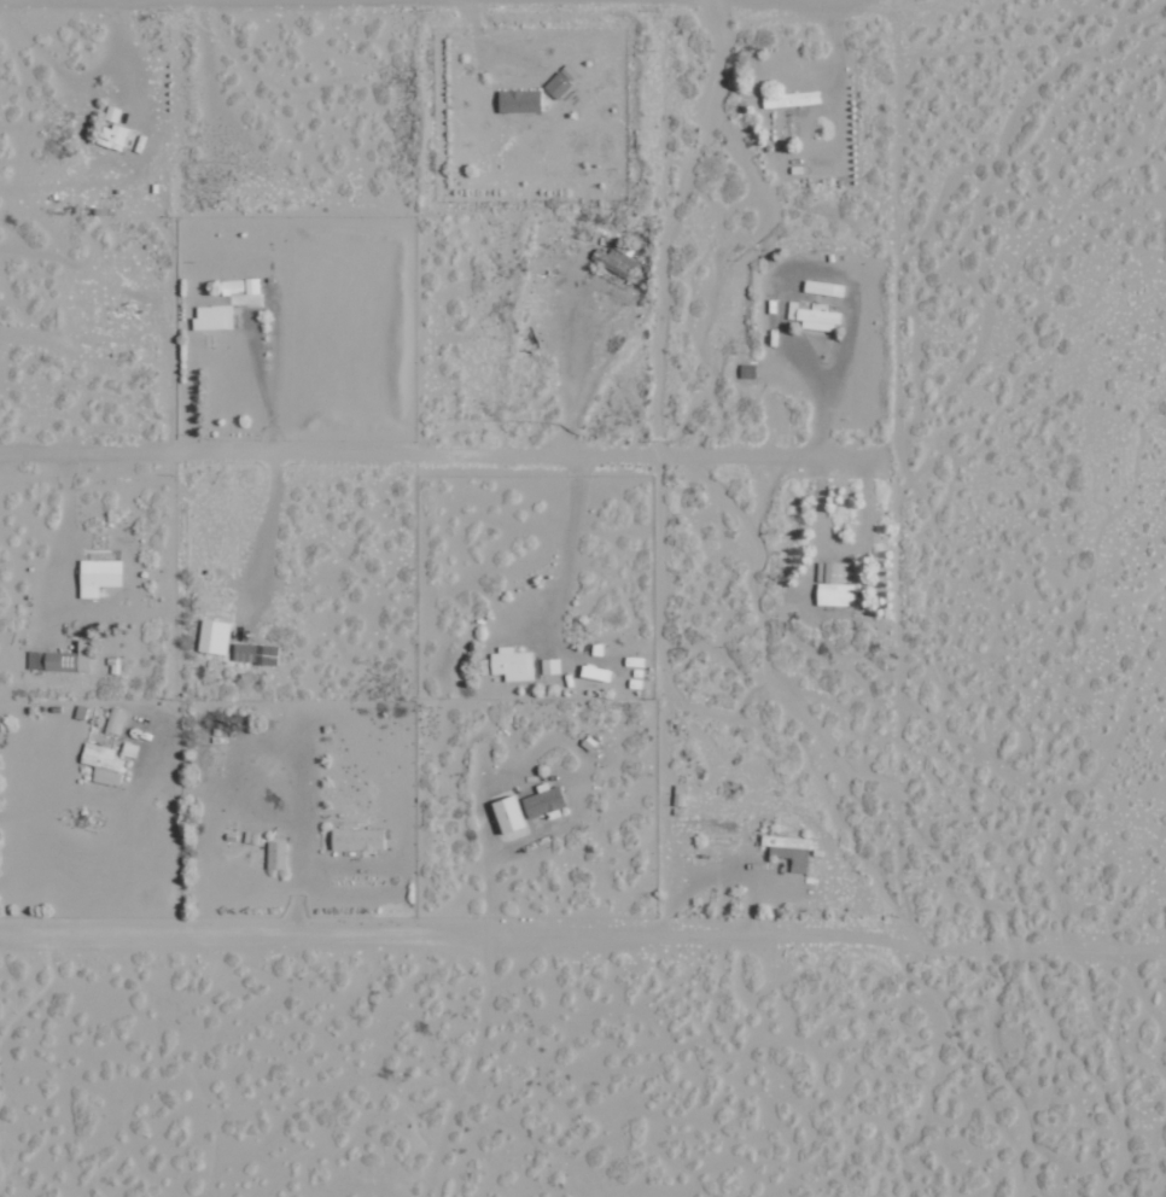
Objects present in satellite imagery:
building: (561, 80)
building: (791, 98)
building: (517, 99)
building: (111, 136)
building: (623, 247)
building: (613, 261)
building: (823, 287)
building: (212, 316)
building: (817, 316)
road: (264, 341)
road: (530, 566)
building: (98, 576)
building: (835, 584)
building: (214, 636)
building: (255, 653)
building: (512, 664)
building: (550, 665)
building: (115, 720)
building: (103, 764)
building: (543, 801)
building: (508, 813)
building: (357, 839)
building: (789, 849)
building: (276, 854)
road: (1060, 1069)

